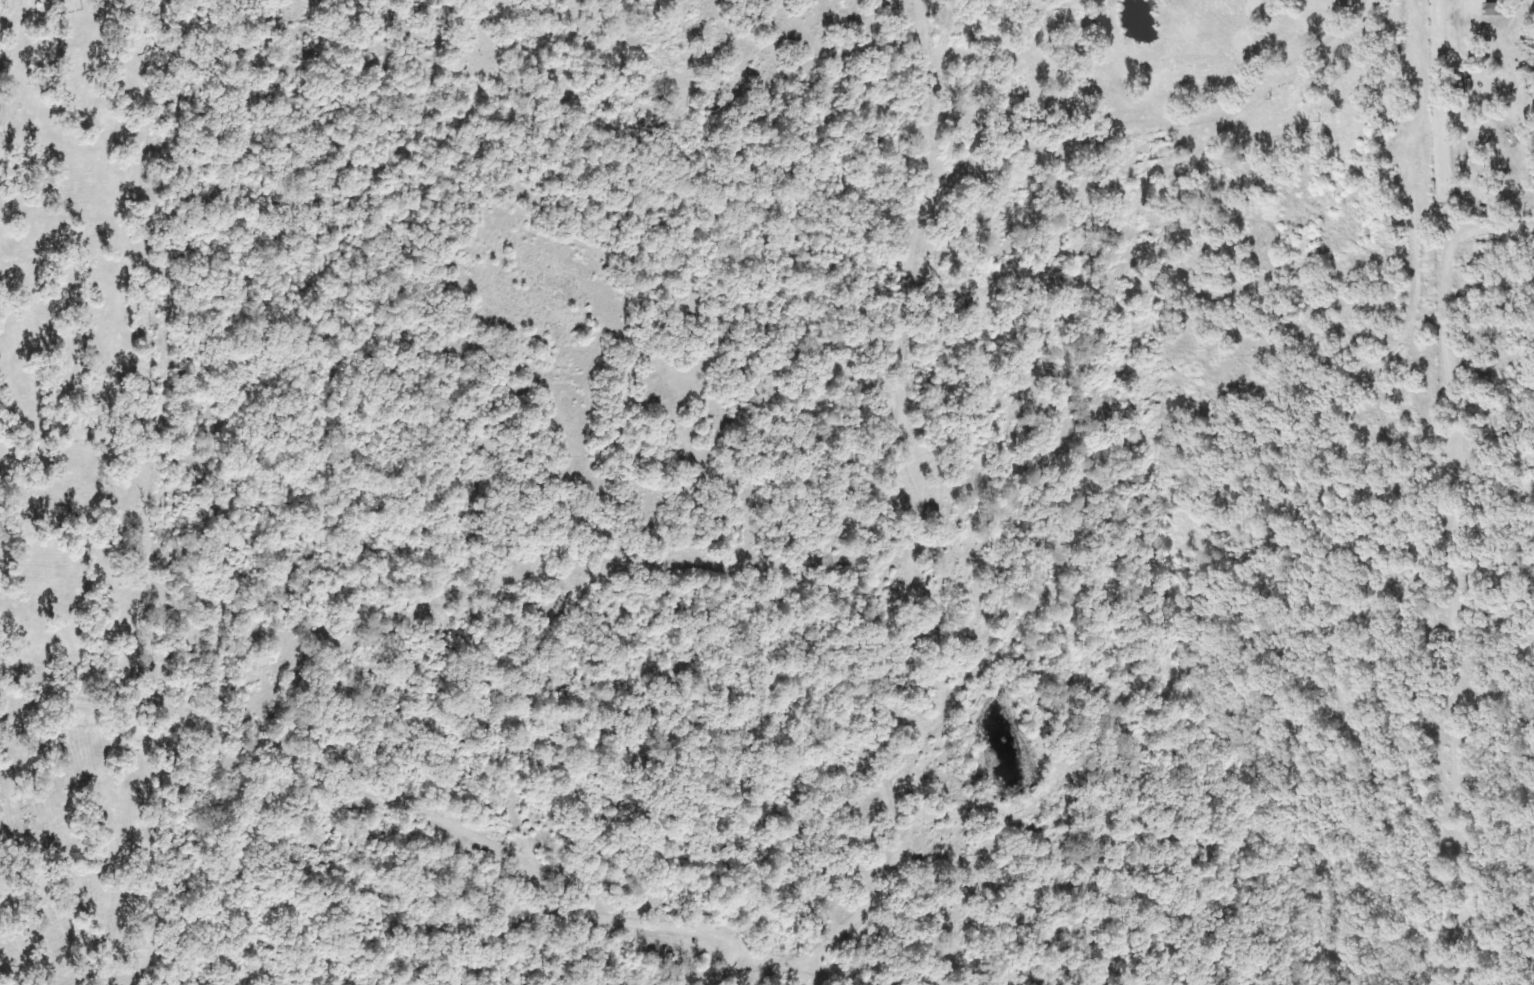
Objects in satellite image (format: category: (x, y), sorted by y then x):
building: (1489, 12)

